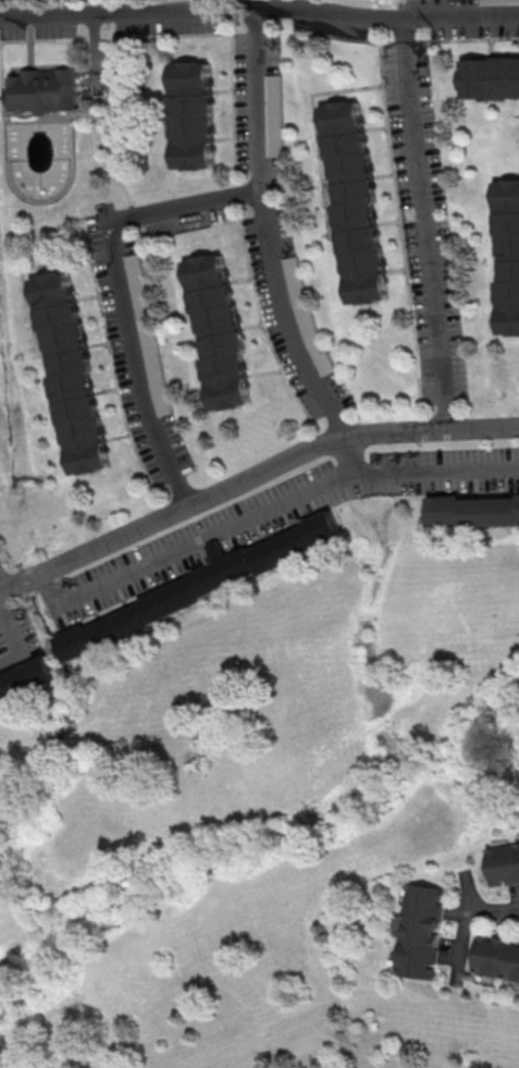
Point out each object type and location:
building: (498, 1)
road: (259, 10)
building: (491, 77)
building: (48, 95)
building: (274, 95)
road: (261, 101)
building: (194, 114)
building: (354, 200)
road: (170, 212)
road: (430, 229)
building: (508, 254)
building: (219, 331)
building: (70, 373)
road: (355, 459)
road: (251, 480)
building: (472, 511)
road: (264, 517)
road: (4, 584)
building: (194, 589)
park: (499, 605)
road: (17, 642)
building: (26, 680)
road: (61, 729)
building: (504, 863)
road: (144, 894)
road: (467, 924)
building: (420, 930)
building: (496, 957)

